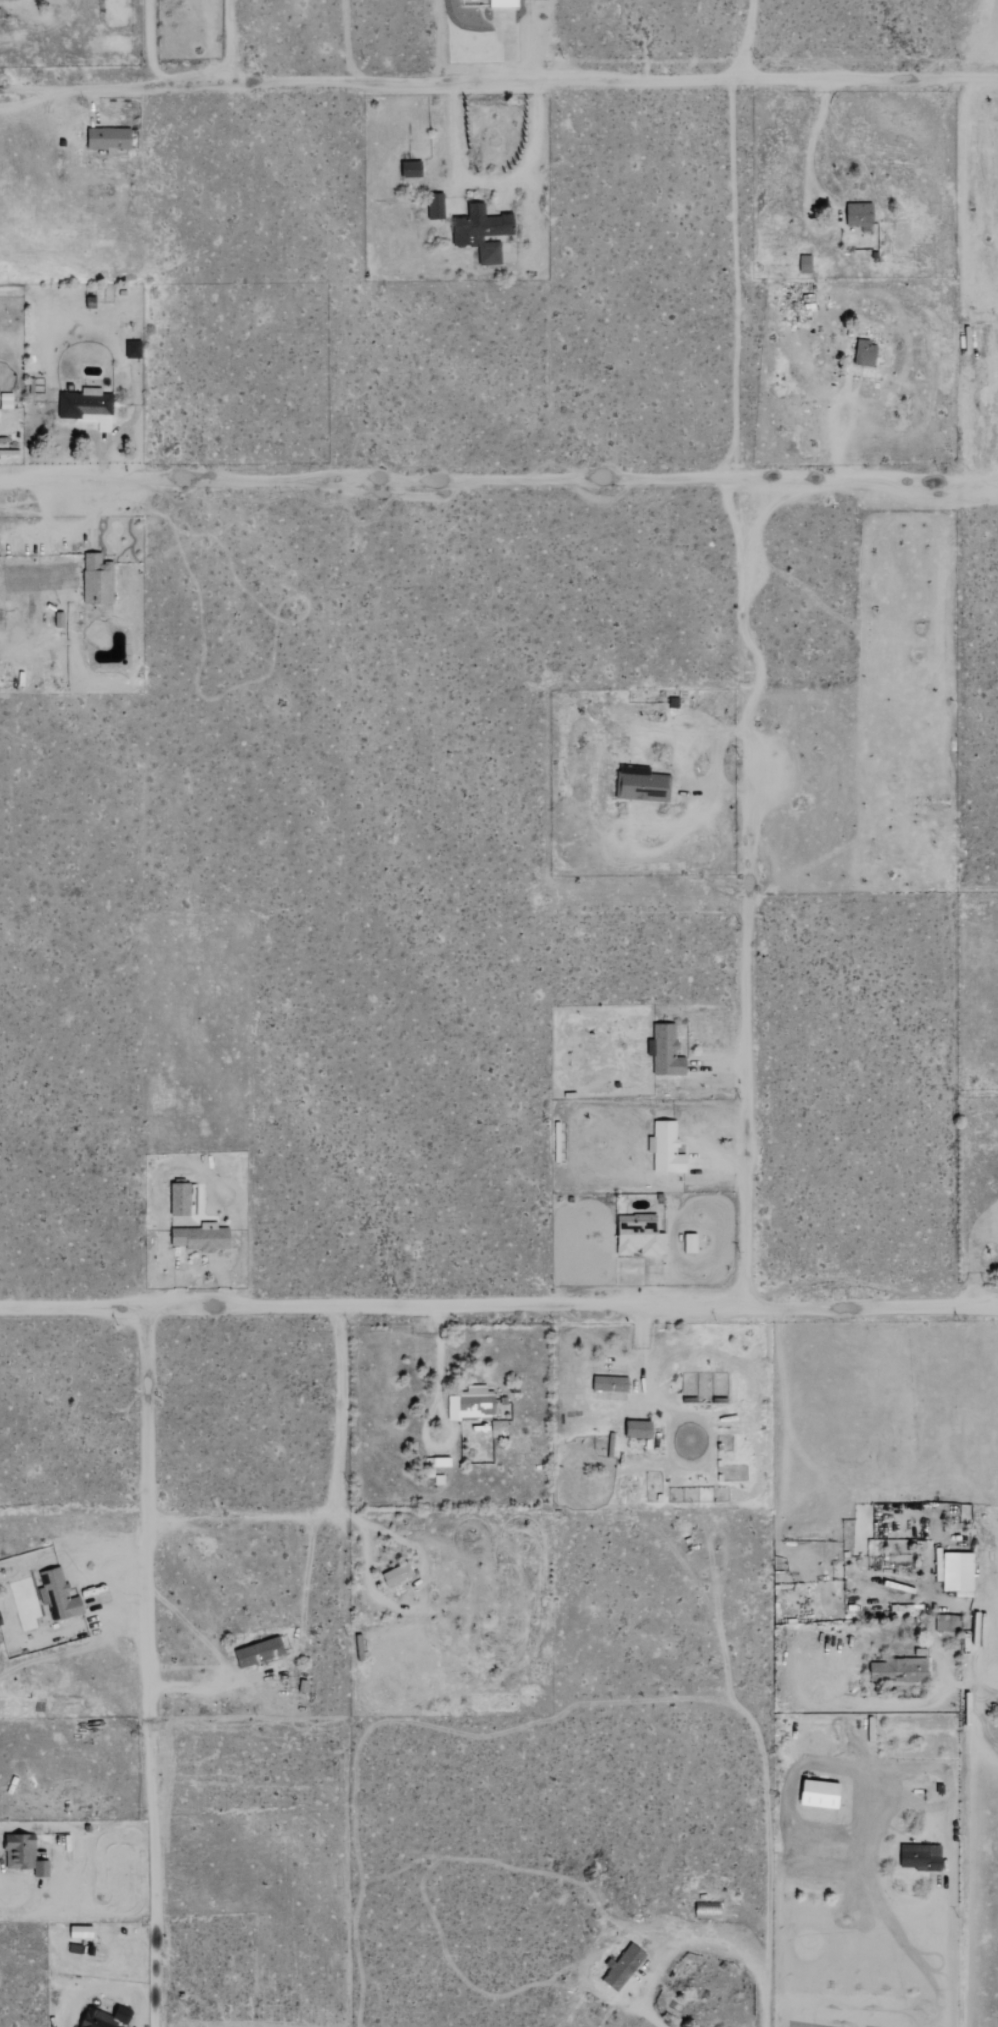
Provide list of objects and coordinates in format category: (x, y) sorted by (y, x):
building: (505, 4)
road: (746, 39)
road: (229, 42)
road: (148, 45)
road: (507, 47)
road: (499, 82)
building: (109, 138)
road: (811, 139)
building: (412, 169)
road: (492, 181)
building: (436, 206)
building: (860, 215)
building: (483, 232)
building: (133, 349)
building: (866, 353)
road: (58, 383)
building: (6, 400)
building: (88, 407)
road: (831, 427)
road: (499, 476)
building: (98, 580)
road: (714, 762)
building: (642, 784)
road: (748, 892)
building: (666, 1052)
road: (725, 1064)
building: (667, 1148)
road: (721, 1162)
building: (181, 1199)
building: (201, 1238)
building: (641, 1238)
building: (690, 1243)
road: (498, 1308)
building: (611, 1383)
building: (473, 1403)
building: (640, 1429)
building: (439, 1479)
road: (337, 1504)
building: (872, 1547)
building: (960, 1572)
building: (398, 1574)
road: (422, 1594)
building: (59, 1595)
building: (260, 1652)
road: (287, 1655)
road: (149, 1666)
building: (899, 1669)
road: (988, 1675)
building: (23, 1853)
building: (921, 1857)
road: (766, 1877)
road: (23, 1907)
road: (948, 1921)
building: (82, 1932)
road: (675, 1944)
building: (625, 1967)

